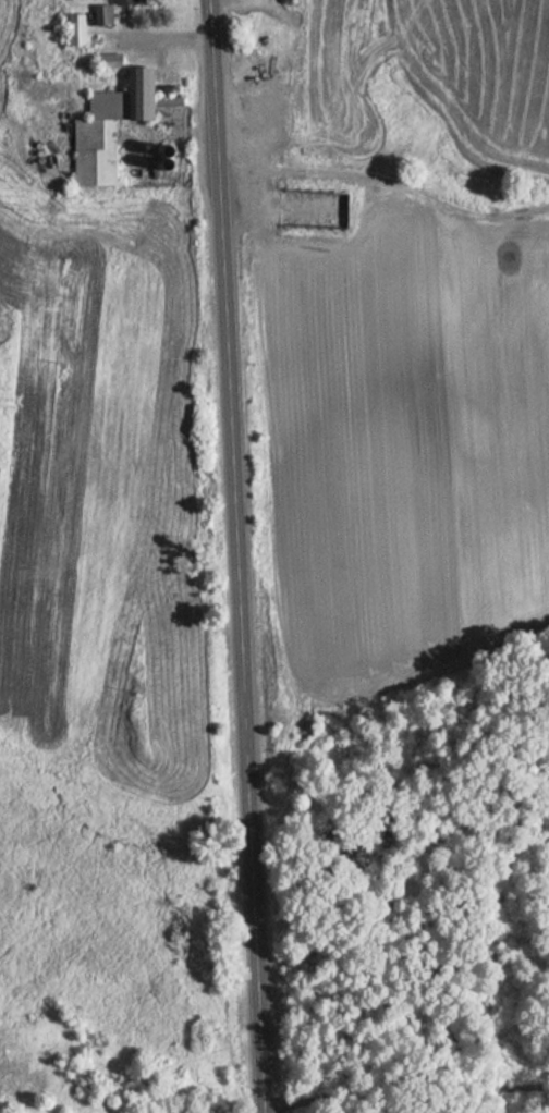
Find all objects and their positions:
building: (106, 11)
building: (72, 28)
road: (166, 40)
building: (102, 60)
building: (93, 138)
road: (237, 555)
road: (406, 1084)

